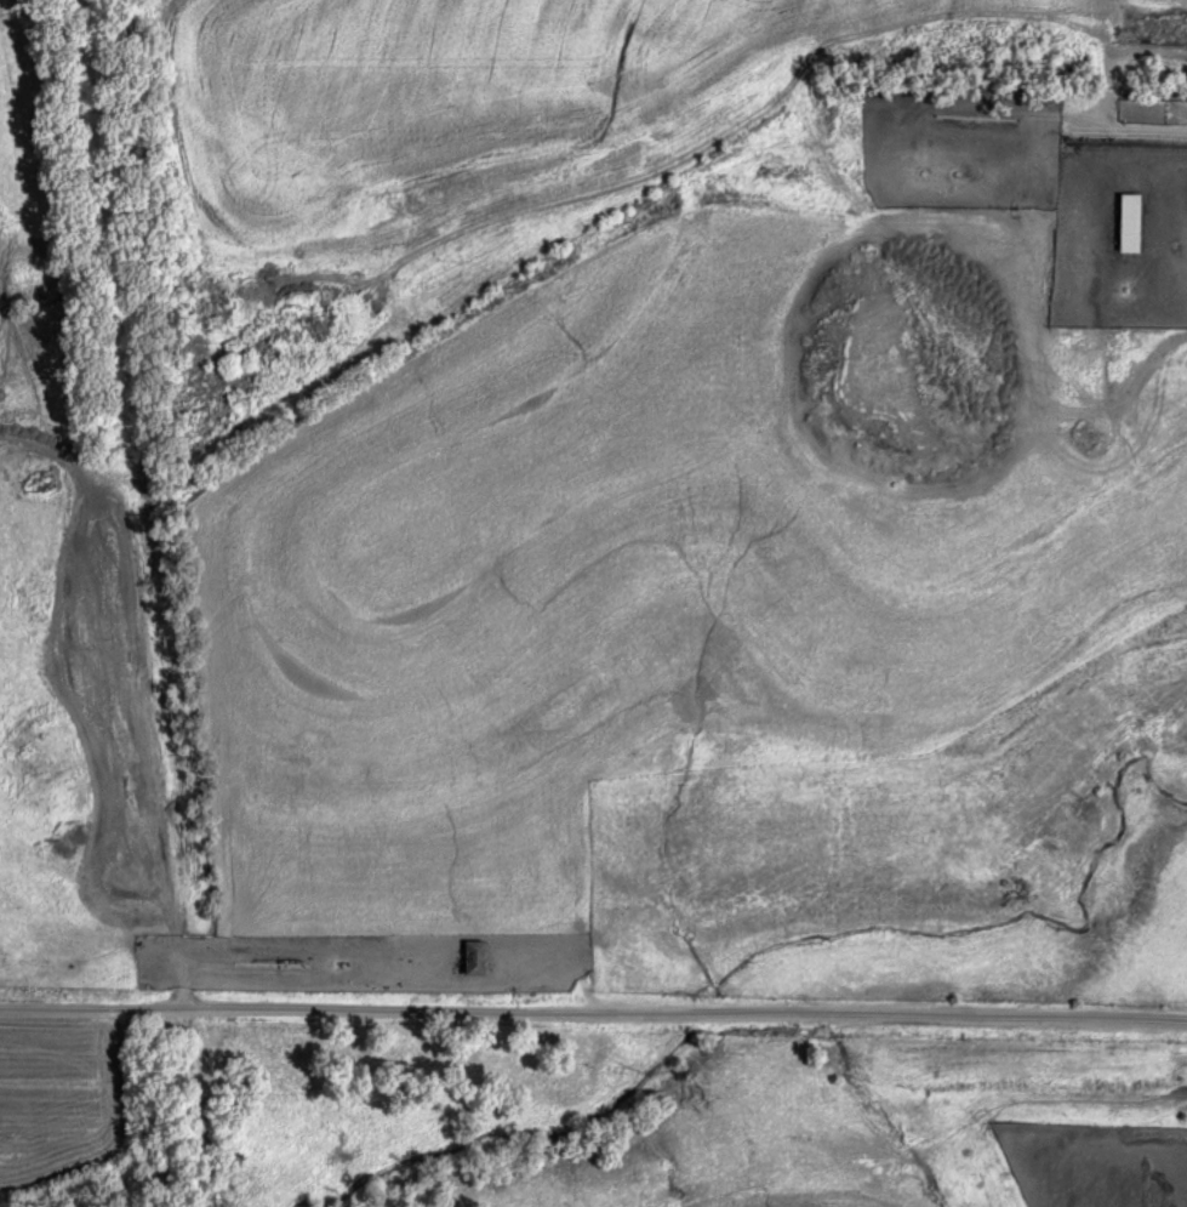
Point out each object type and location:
building: (1134, 223)
building: (478, 960)
road: (593, 1017)

